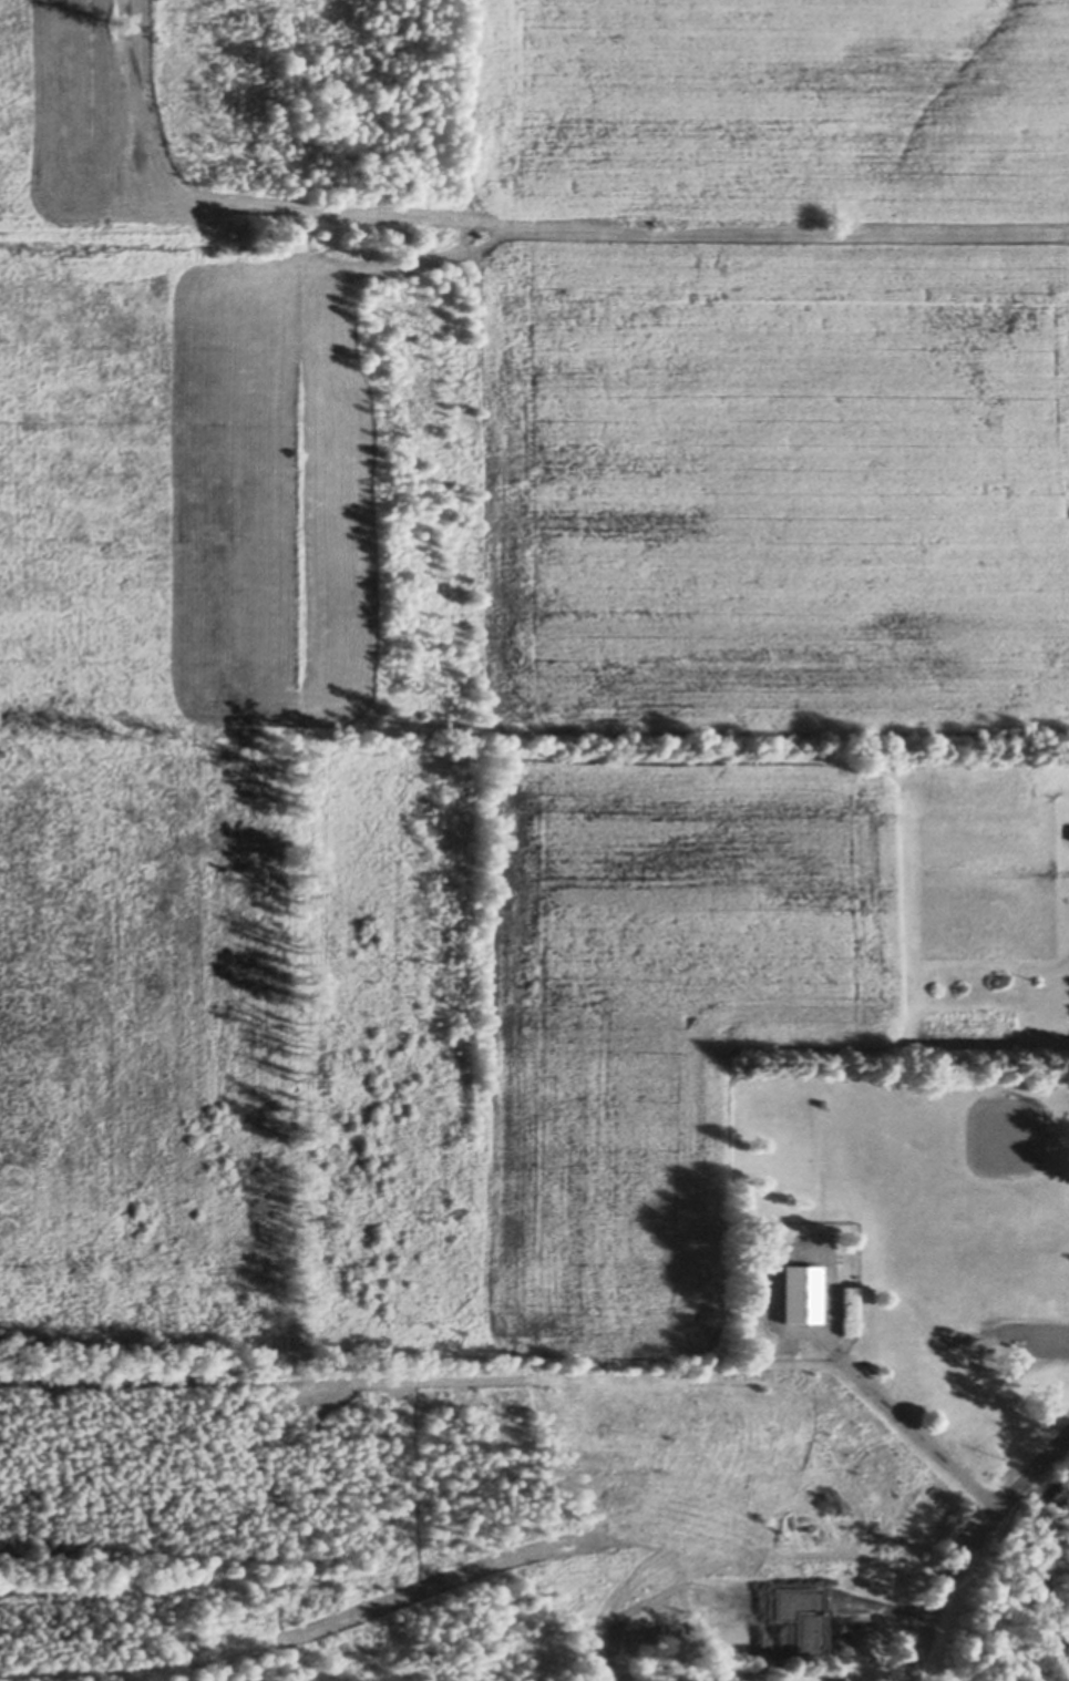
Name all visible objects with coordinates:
crop: (775, 365)
park: (946, 1188)
park: (928, 1229)
building: (800, 1288)
road: (911, 1424)
road: (970, 1547)
building: (821, 1595)
building: (820, 1631)
building: (758, 1671)
building: (1014, 1679)

